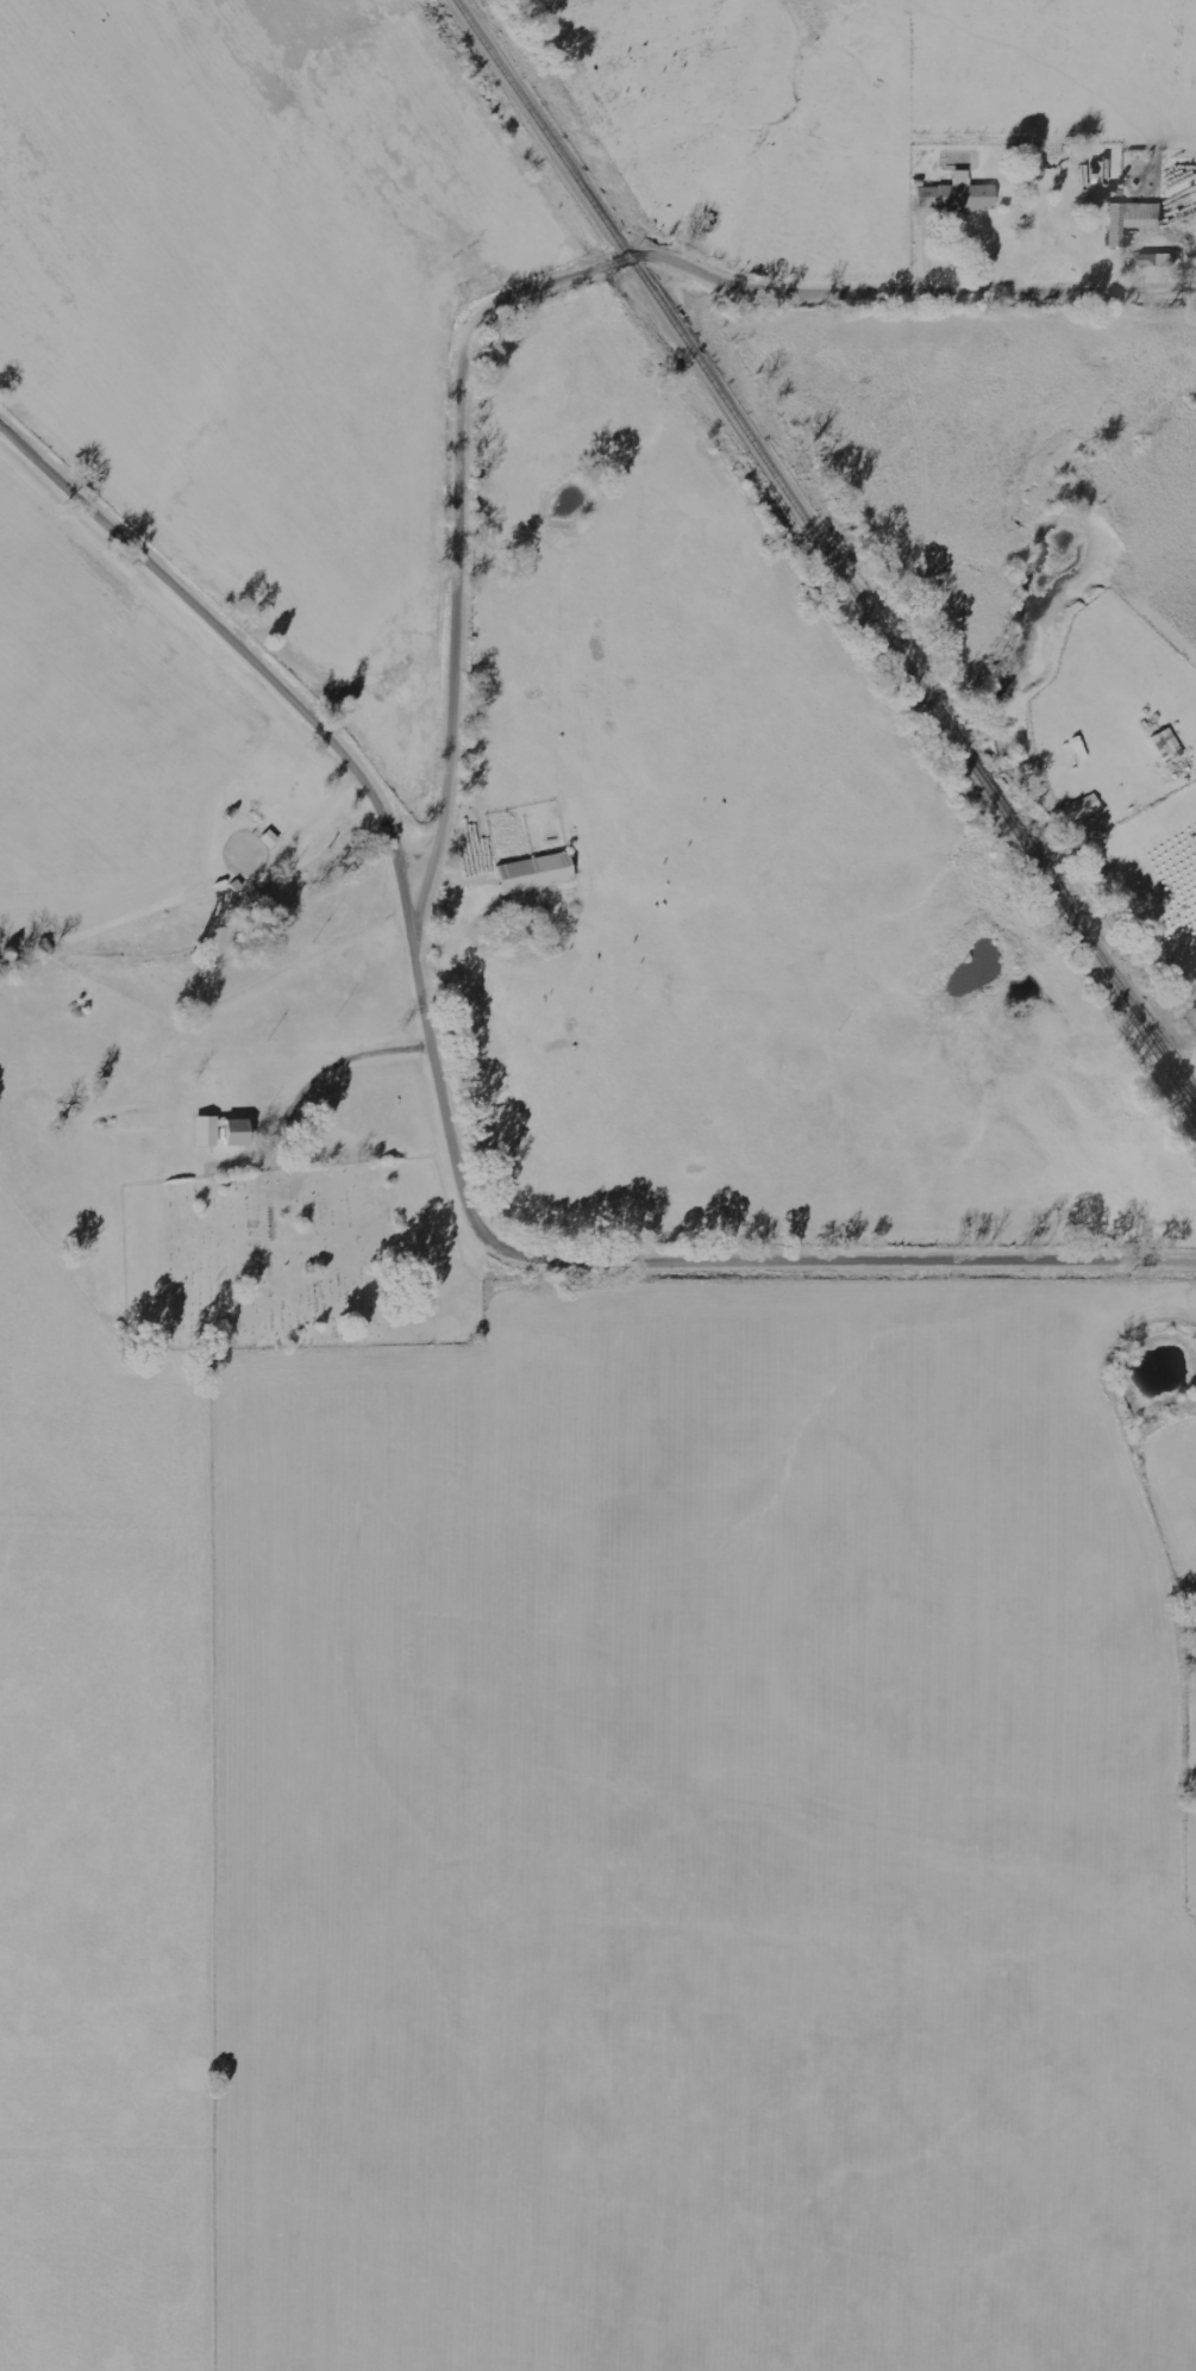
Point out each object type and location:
building: (957, 195)
building: (1152, 260)
road: (534, 295)
railway: (824, 551)
building: (1166, 742)
building: (536, 873)
road: (450, 1102)
building: (207, 1131)
building: (238, 1131)

